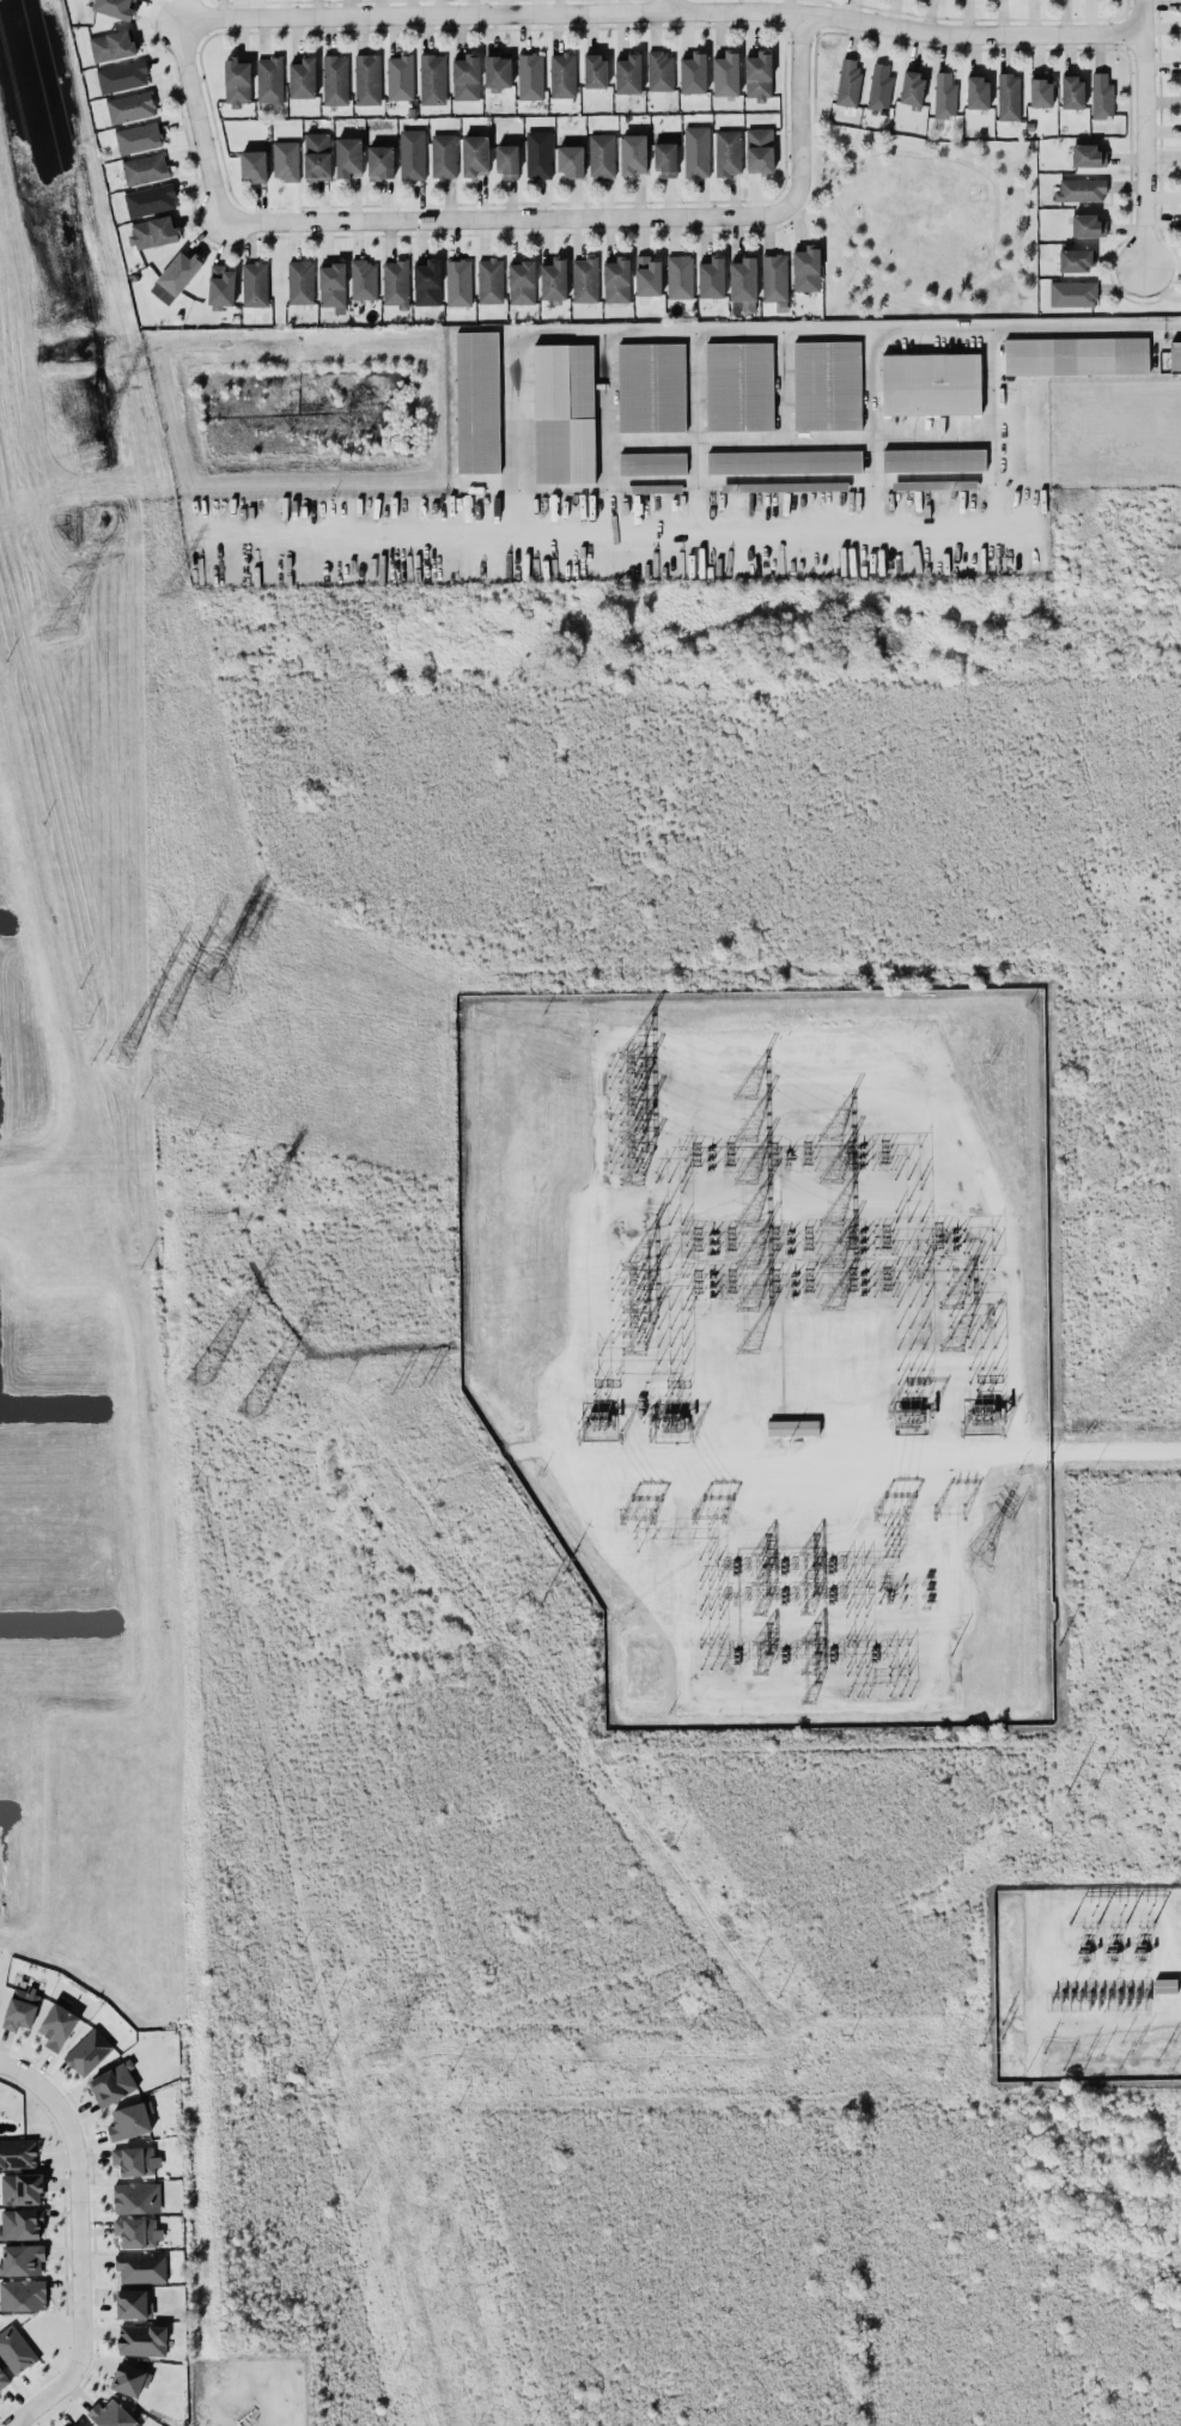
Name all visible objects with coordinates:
road: (671, 6)
building: (115, 7)
road: (663, 13)
building: (111, 44)
building: (497, 69)
building: (593, 69)
building: (659, 71)
building: (693, 73)
building: (725, 73)
building: (562, 74)
building: (628, 74)
building: (757, 74)
building: (122, 75)
building: (530, 75)
building: (400, 77)
building: (465, 77)
building: (303, 78)
building: (367, 78)
building: (432, 78)
building: (269, 79)
building: (334, 79)
building: (237, 80)
building: (848, 83)
building: (879, 86)
building: (912, 86)
building: (1040, 90)
building: (1072, 90)
building: (978, 92)
building: (944, 95)
building: (1102, 95)
building: (1007, 96)
building: (130, 107)
road: (800, 108)
road: (816, 111)
road: (203, 118)
road: (1146, 135)
building: (138, 136)
building: (759, 150)
building: (696, 151)
building: (728, 152)
building: (412, 153)
building: (538, 153)
building: (633, 153)
building: (443, 154)
building: (474, 154)
building: (602, 154)
building: (1088, 154)
building: (317, 156)
building: (348, 157)
building: (665, 158)
building: (286, 159)
building: (570, 159)
building: (379, 162)
building: (507, 162)
building: (252, 165)
building: (145, 169)
road: (836, 170)
building: (1080, 189)
building: (150, 199)
road: (511, 217)
road: (799, 224)
building: (1088, 225)
building: (153, 231)
road: (993, 260)
building: (1076, 260)
building: (806, 268)
building: (647, 275)
building: (680, 275)
building: (175, 276)
building: (711, 276)
building: (774, 276)
building: (363, 279)
building: (553, 279)
building: (584, 279)
building: (489, 280)
building: (616, 280)
building: (300, 281)
building: (458, 281)
building: (522, 281)
building: (395, 282)
building: (427, 282)
building: (255, 284)
building: (331, 284)
building: (743, 285)
building: (221, 286)
building: (1073, 292)
road: (1083, 327)
building: (1077, 354)
building: (1175, 355)
building: (932, 382)
building: (827, 384)
building: (739, 385)
building: (651, 387)
building: (477, 401)
building: (564, 413)
road: (864, 425)
road: (608, 427)
power tower: (77, 444)
building: (933, 458)
building: (784, 461)
building: (652, 462)
building: (790, 486)
road: (503, 523)
power tower: (163, 592)
power tower: (43, 626)
power tower: (249, 936)
power tower: (207, 985)
power tower: (158, 1021)
power tower: (112, 1042)
power tower: (272, 1190)
power substation: (772, 1338)
power tower: (200, 1378)
power tower: (426, 1379)
power tower: (397, 1387)
power tower: (250, 1411)
building: (792, 1427)
road: (943, 1452)
power tower: (982, 1556)
power tower: (566, 1571)
power tower: (543, 1601)
power substation: (1086, 1983)
building: (1164, 1984)
building: (20, 2007)
building: (57, 2023)
building: (87, 2051)
power tower: (379, 2051)
building: (112, 2083)
building: (128, 2121)
building: (18, 2152)
building: (135, 2159)
building: (20, 2188)
road: (79, 2195)
building: (136, 2196)
building: (20, 2223)
building: (136, 2231)
building: (22, 2258)
building: (140, 2267)
building: (23, 2293)
building: (133, 2303)
building: (141, 2339)
building: (16, 2348)
building: (2, 2378)
building: (130, 2378)
road: (45, 2397)
building: (111, 2414)
building: (80, 2422)

